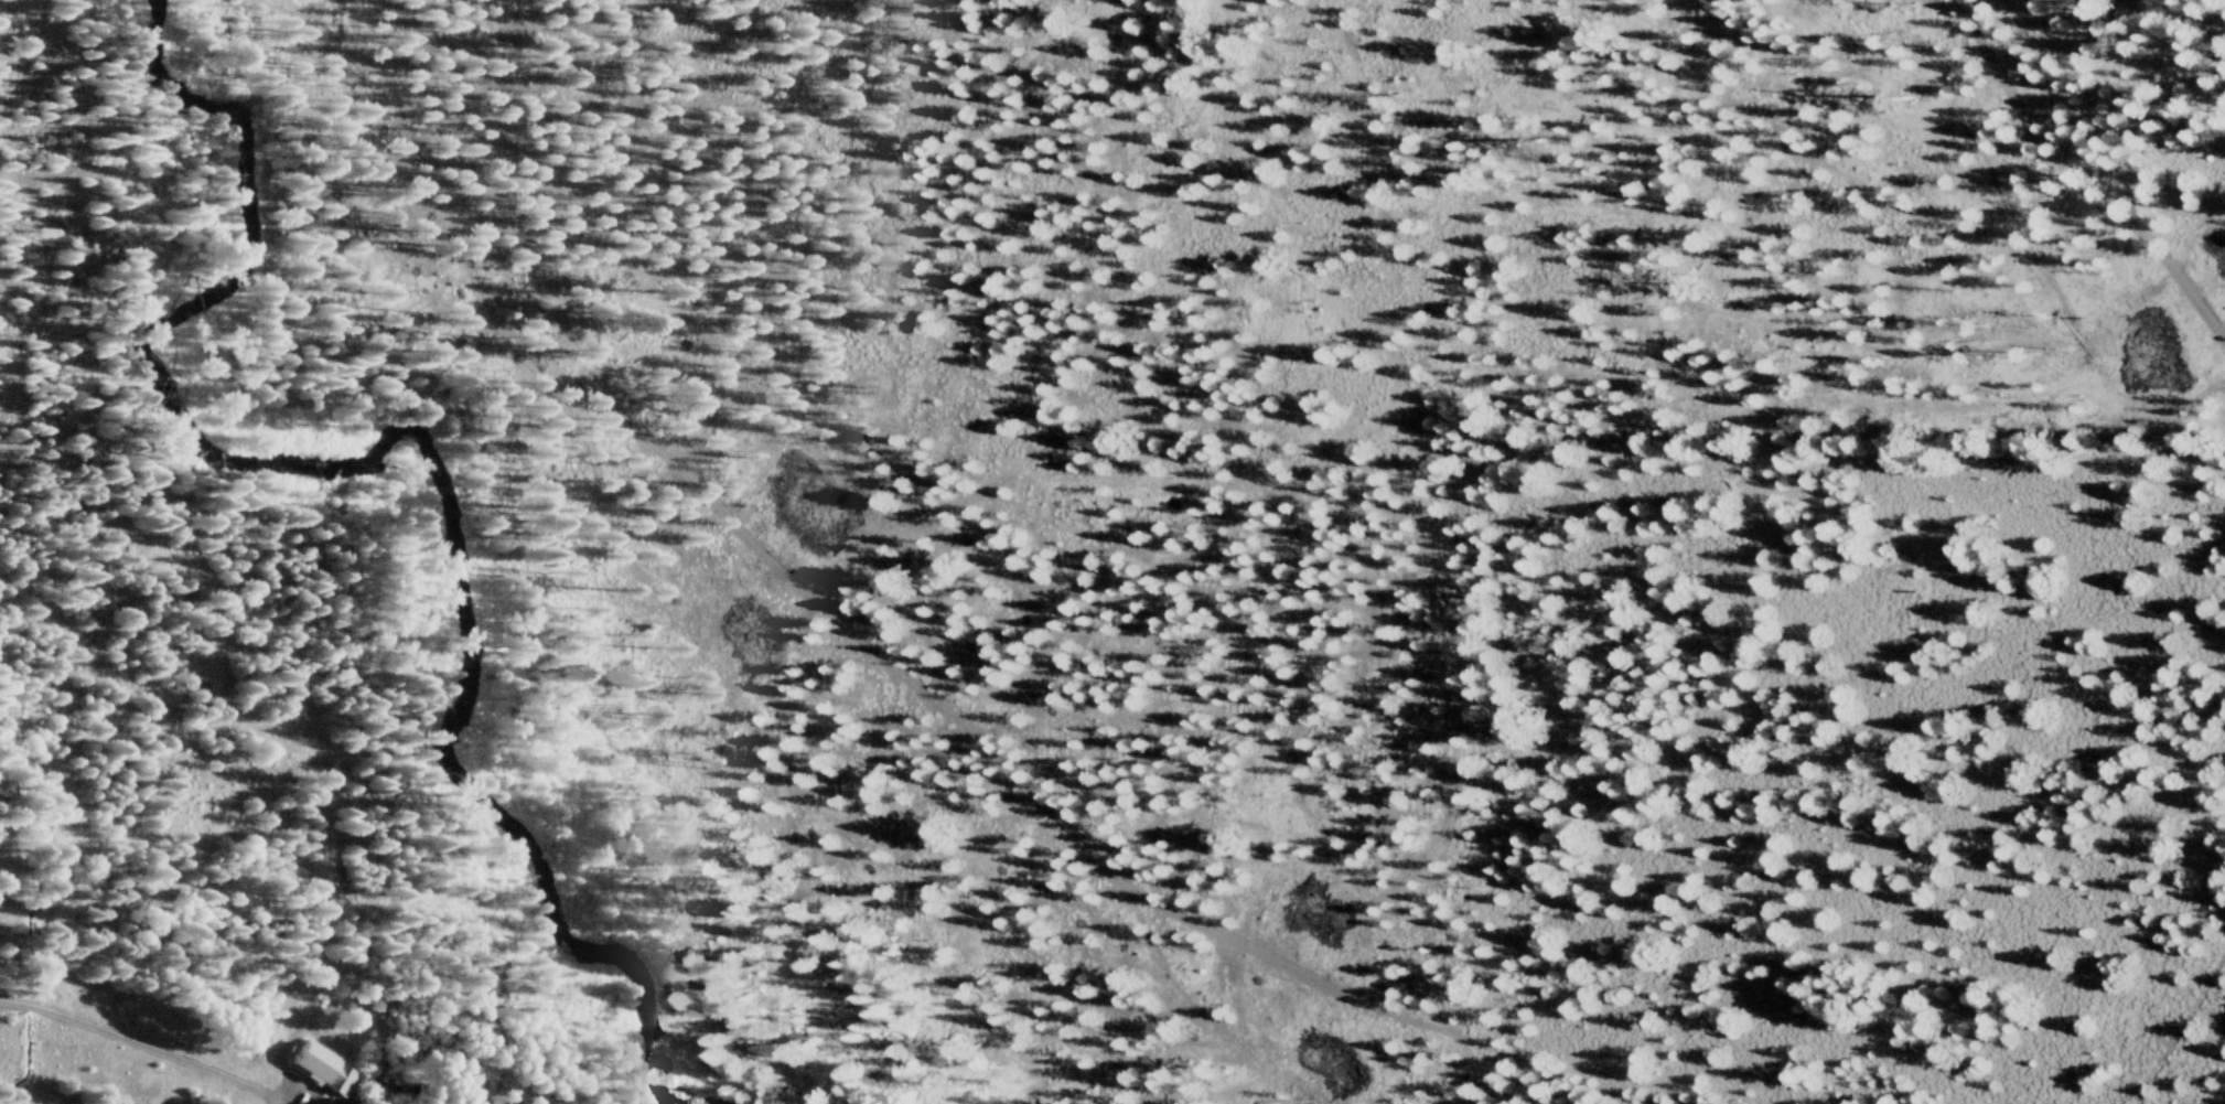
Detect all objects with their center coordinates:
road: (147, 1052)
building: (314, 1069)

